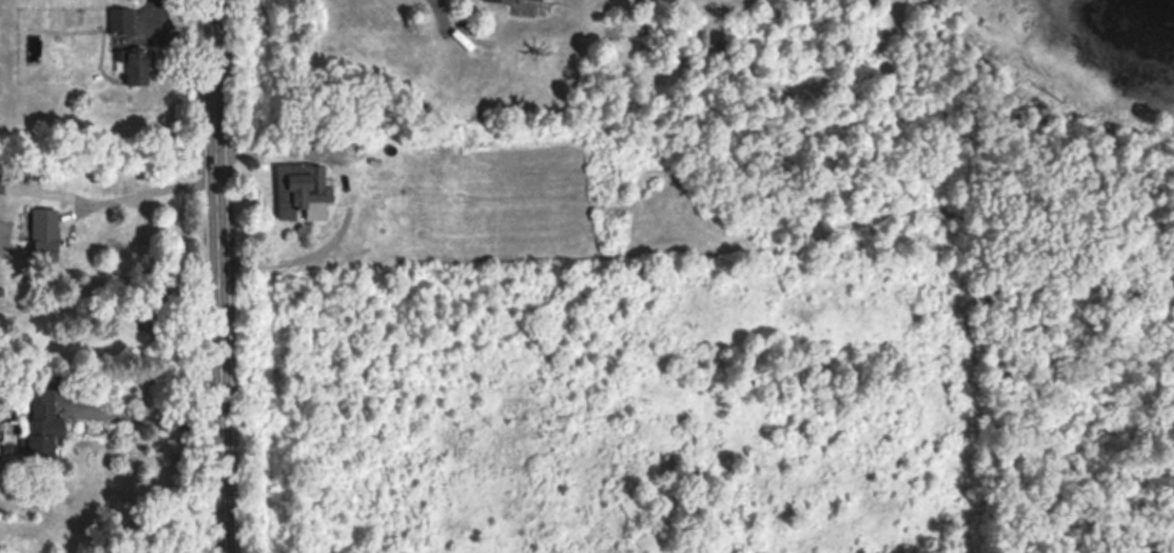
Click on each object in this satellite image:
building: (529, 0)
building: (123, 19)
building: (138, 64)
building: (1, 178)
road: (350, 189)
building: (302, 190)
road: (149, 192)
building: (46, 232)
road: (216, 276)
building: (41, 416)
road: (153, 417)

